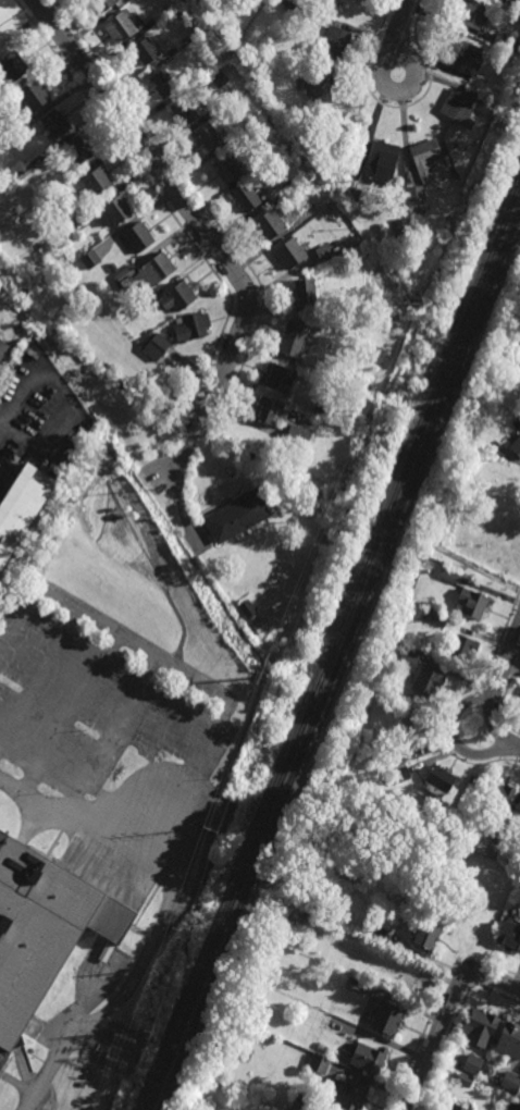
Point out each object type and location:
building: (360, 0)
building: (366, 0)
building: (210, 1)
building: (315, 2)
building: (511, 2)
building: (195, 3)
building: (99, 5)
building: (174, 5)
building: (519, 8)
building: (293, 10)
building: (509, 10)
building: (309, 11)
building: (472, 13)
building: (158, 16)
building: (179, 16)
building: (517, 18)
road: (401, 27)
building: (117, 28)
building: (0, 33)
building: (184, 42)
building: (335, 42)
building: (505, 42)
building: (144, 52)
building: (243, 53)
building: (469, 60)
building: (243, 63)
building: (12, 69)
road: (380, 69)
building: (191, 78)
building: (218, 78)
building: (163, 85)
building: (317, 90)
building: (496, 92)
building: (33, 97)
building: (483, 104)
road: (398, 108)
building: (461, 109)
building: (184, 113)
building: (216, 113)
building: (247, 124)
building: (52, 126)
building: (483, 128)
building: (342, 134)
building: (13, 136)
building: (207, 139)
building: (75, 150)
building: (381, 156)
building: (425, 157)
building: (226, 168)
building: (23, 172)
building: (97, 180)
building: (288, 183)
road: (187, 184)
building: (351, 192)
building: (416, 195)
building: (51, 196)
road: (157, 196)
building: (247, 196)
road: (183, 201)
building: (332, 206)
building: (416, 207)
building: (114, 209)
building: (350, 209)
building: (309, 214)
building: (357, 215)
building: (79, 218)
building: (271, 223)
building: (401, 230)
building: (138, 235)
building: (334, 243)
building: (324, 250)
building: (290, 252)
building: (90, 258)
building: (113, 268)
building: (148, 270)
building: (407, 288)
building: (305, 292)
building: (177, 296)
power tower: (408, 303)
building: (144, 306)
building: (332, 307)
building: (191, 326)
building: (150, 331)
building: (294, 337)
building: (157, 347)
building: (2, 348)
road: (14, 350)
building: (314, 369)
building: (510, 371)
building: (283, 379)
road: (66, 398)
road: (191, 407)
building: (322, 409)
building: (271, 411)
road: (1, 424)
road: (198, 429)
building: (298, 436)
road: (190, 443)
building: (517, 445)
building: (18, 509)
building: (238, 517)
power tower: (329, 520)
park: (485, 522)
road: (453, 530)
building: (448, 576)
building: (473, 603)
building: (248, 610)
building: (438, 619)
building: (261, 625)
railway: (333, 646)
building: (461, 649)
road: (506, 655)
railway: (336, 658)
building: (408, 659)
power tower: (271, 674)
road: (39, 675)
building: (429, 682)
road: (500, 698)
road: (455, 699)
road: (71, 714)
road: (218, 723)
road: (495, 723)
road: (107, 732)
building: (412, 732)
road: (454, 739)
building: (400, 776)
building: (438, 781)
building: (502, 797)
building: (441, 818)
power tower: (208, 830)
building: (499, 837)
building: (308, 915)
building: (42, 926)
building: (377, 932)
building: (426, 932)
building: (509, 933)
road: (128, 989)
road: (444, 1015)
building: (387, 1016)
building: (479, 1025)
power tower: (143, 1032)
building: (509, 1038)
building: (321, 1046)
power substation: (113, 1047)
building: (34, 1049)
building: (368, 1056)
building: (319, 1063)
building: (473, 1063)
building: (487, 1069)
building: (465, 1078)
building: (511, 1080)
building: (347, 1093)
building: (304, 1102)
building: (455, 1107)
building: (441, 1109)

